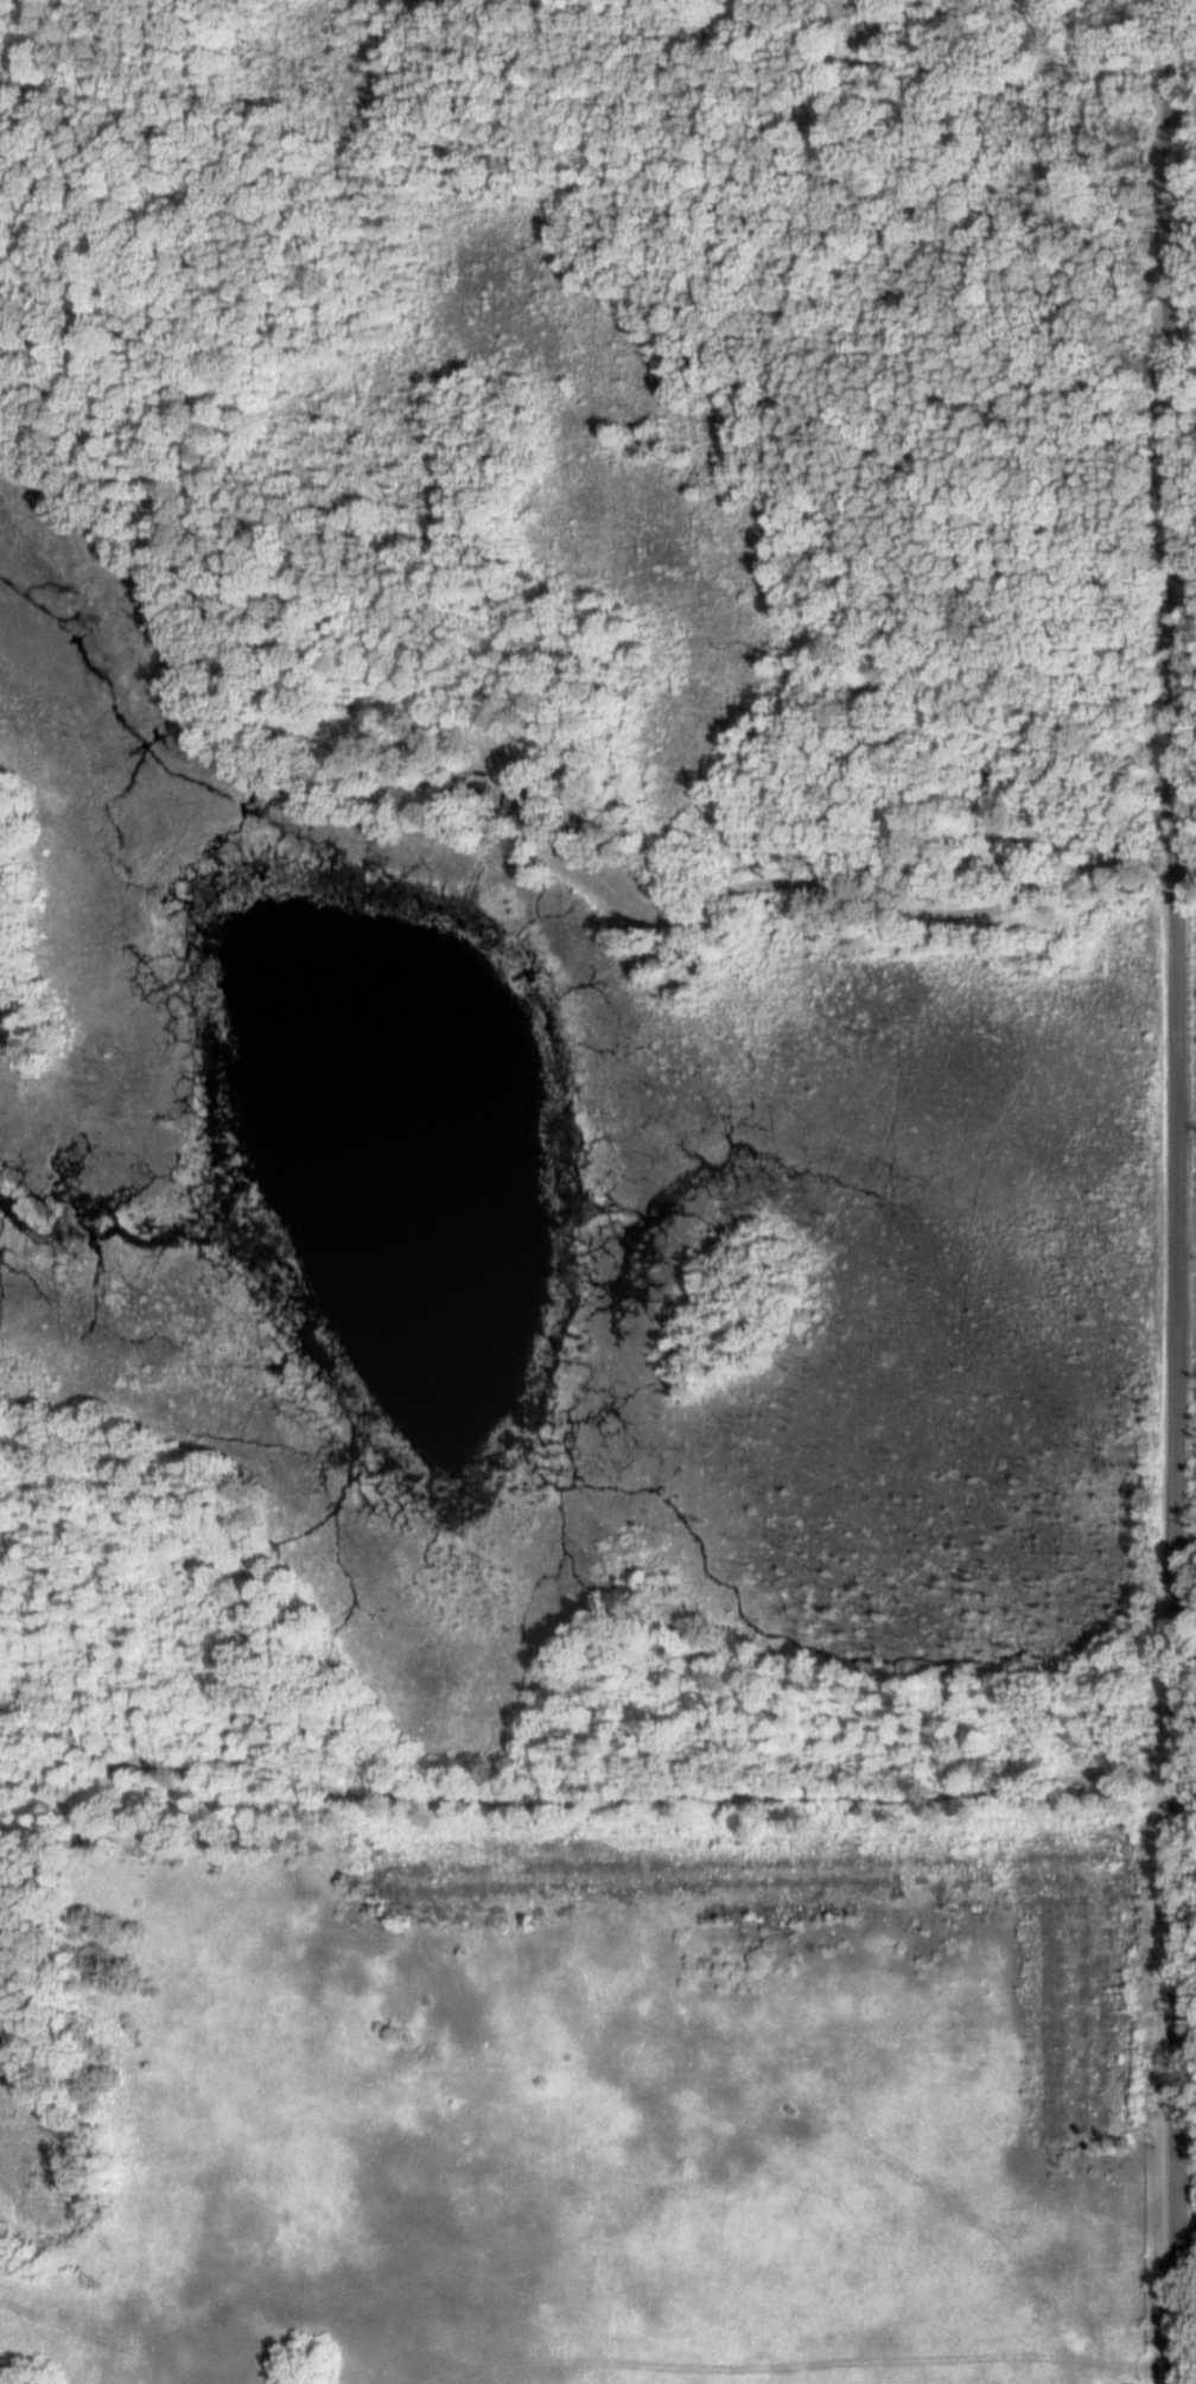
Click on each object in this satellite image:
road: (836, 890)
road: (1172, 1191)
road: (577, 1792)

